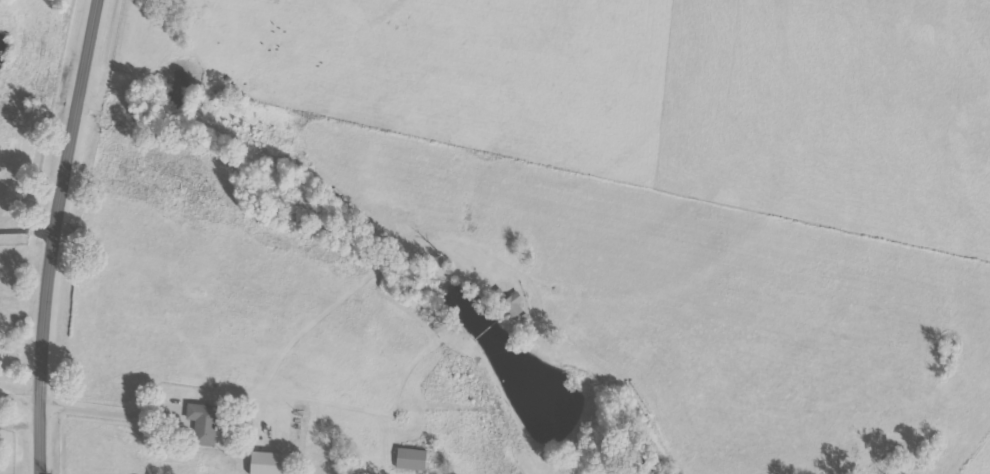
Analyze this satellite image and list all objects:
road: (58, 235)
building: (513, 305)
road: (107, 408)
building: (200, 422)
building: (411, 458)
building: (265, 462)

